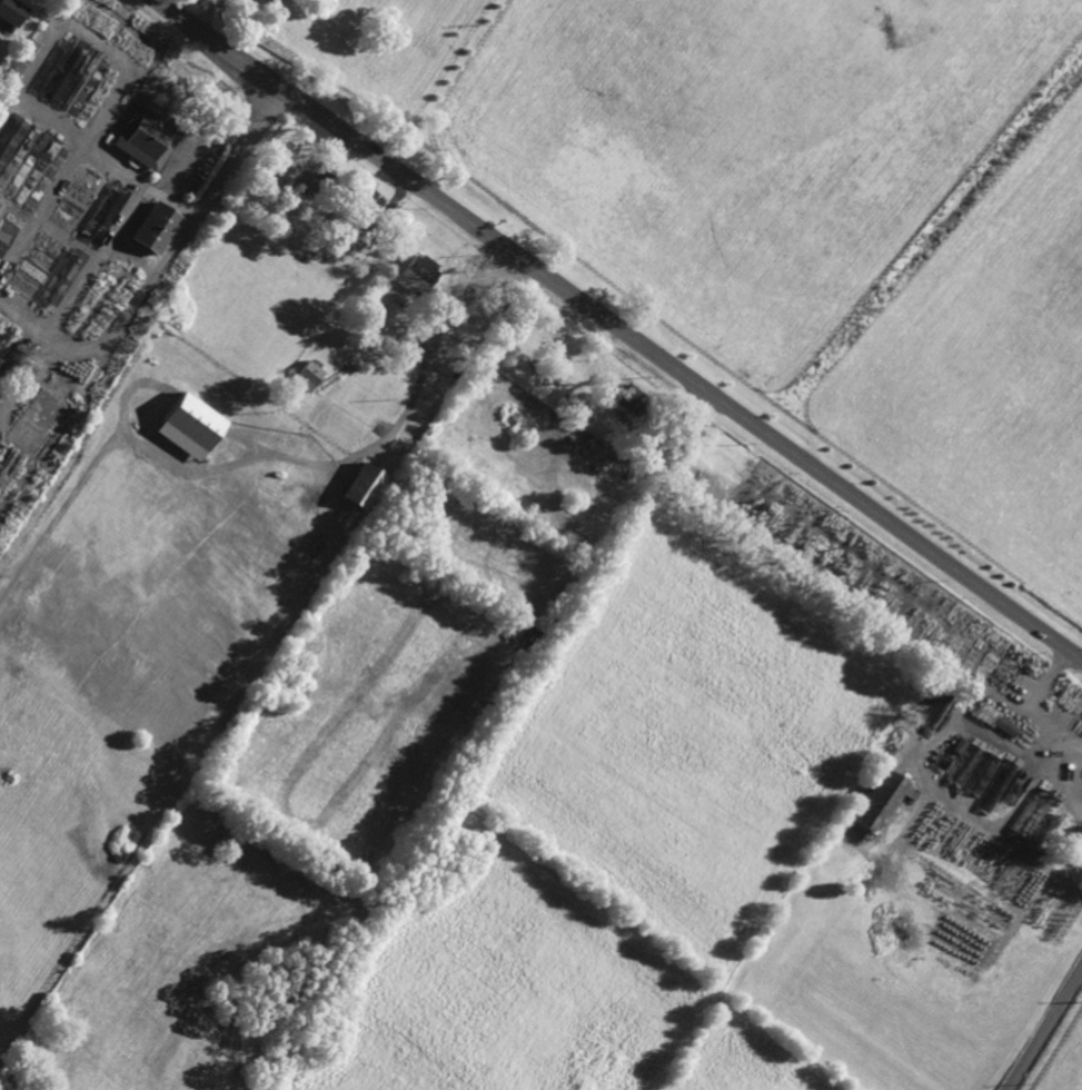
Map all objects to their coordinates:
building: (12, 11)
road: (209, 17)
building: (147, 137)
building: (10, 138)
building: (300, 177)
road: (171, 202)
building: (365, 204)
building: (296, 208)
building: (260, 211)
building: (107, 214)
building: (157, 227)
building: (360, 244)
building: (417, 275)
building: (63, 280)
building: (498, 284)
building: (400, 305)
road: (618, 327)
building: (391, 329)
building: (403, 344)
building: (308, 377)
building: (403, 378)
building: (629, 403)
building: (189, 425)
building: (713, 444)
building: (647, 450)
building: (723, 452)
building: (732, 459)
building: (361, 484)
building: (532, 628)
building: (930, 701)
building: (984, 712)
building: (1003, 725)
building: (955, 744)
building: (941, 760)
building: (980, 774)
building: (880, 800)
road: (1045, 1030)

